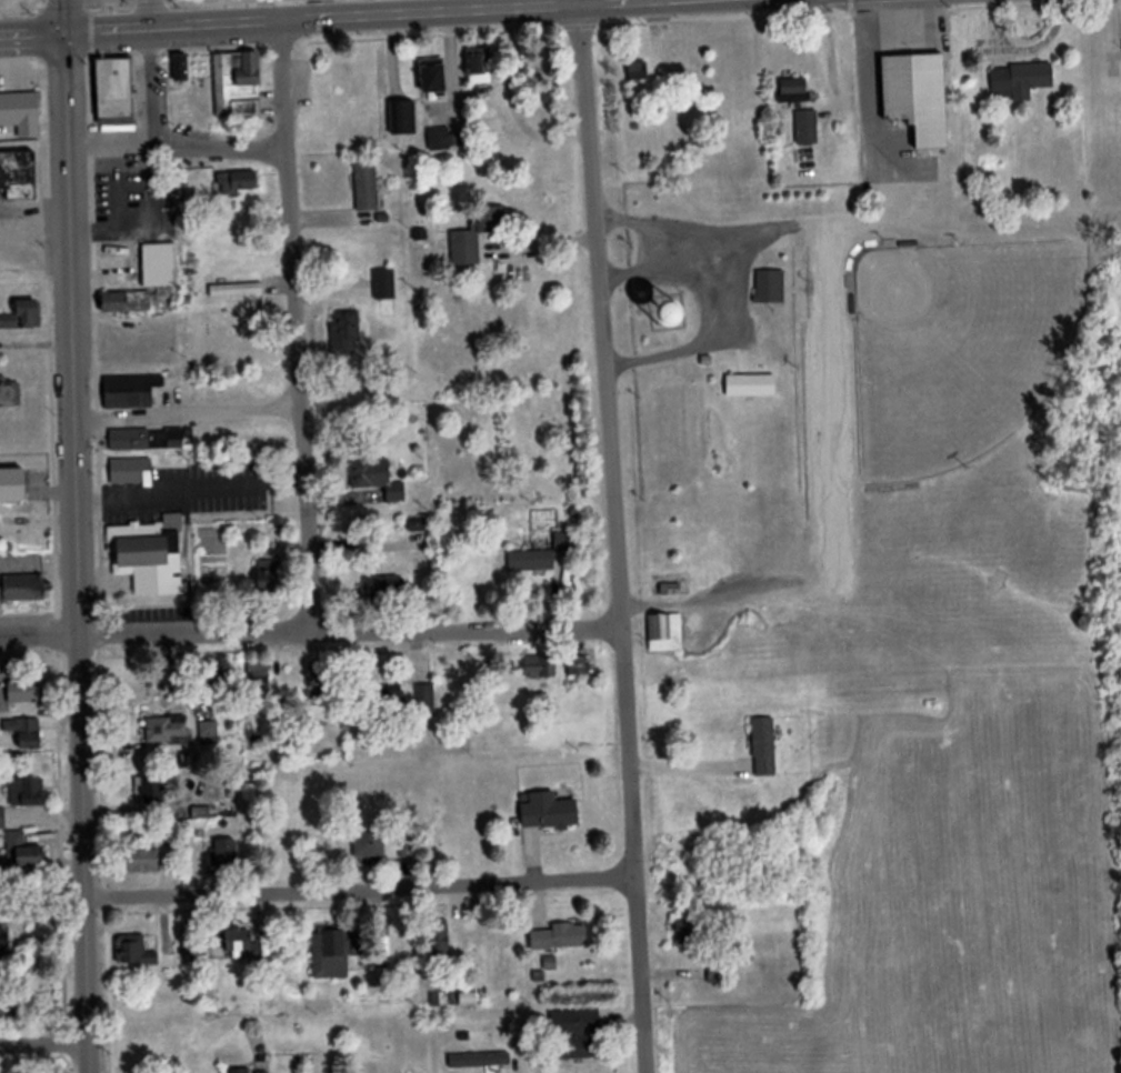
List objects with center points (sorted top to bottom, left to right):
road: (64, 18)
road: (311, 20)
building: (479, 67)
building: (180, 69)
building: (639, 73)
building: (434, 77)
building: (1020, 81)
building: (238, 86)
building: (794, 91)
building: (114, 92)
building: (919, 97)
building: (21, 114)
building: (401, 119)
building: (808, 128)
building: (441, 142)
building: (19, 177)
building: (238, 183)
building: (367, 187)
building: (477, 235)
building: (420, 238)
building: (384, 284)
building: (770, 288)
building: (127, 303)
water tower: (668, 317)
building: (23, 318)
building: (673, 318)
road: (292, 325)
building: (383, 331)
building: (346, 333)
park: (963, 349)
building: (131, 392)
building: (10, 394)
building: (739, 395)
building: (152, 440)
building: (130, 472)
building: (377, 480)
building: (12, 488)
road: (617, 536)
building: (567, 544)
road: (79, 554)
building: (150, 556)
building: (531, 563)
building: (269, 578)
building: (22, 590)
building: (383, 591)
road: (464, 628)
road: (152, 634)
building: (665, 634)
building: (578, 666)
building: (540, 669)
building: (258, 683)
building: (323, 683)
building: (23, 692)
building: (384, 698)
building: (426, 701)
building: (168, 730)
building: (210, 731)
building: (26, 734)
building: (764, 748)
building: (151, 791)
building: (27, 792)
building: (549, 813)
road: (61, 819)
building: (2, 820)
building: (416, 845)
building: (371, 848)
building: (23, 854)
building: (227, 856)
road: (361, 891)
building: (687, 933)
building: (559, 939)
building: (3, 940)
building: (242, 944)
building: (438, 950)
building: (134, 952)
building: (332, 954)
building: (464, 1002)
building: (7, 1007)
building: (577, 1035)
road: (46, 1045)
building: (480, 1062)
building: (240, 1071)

